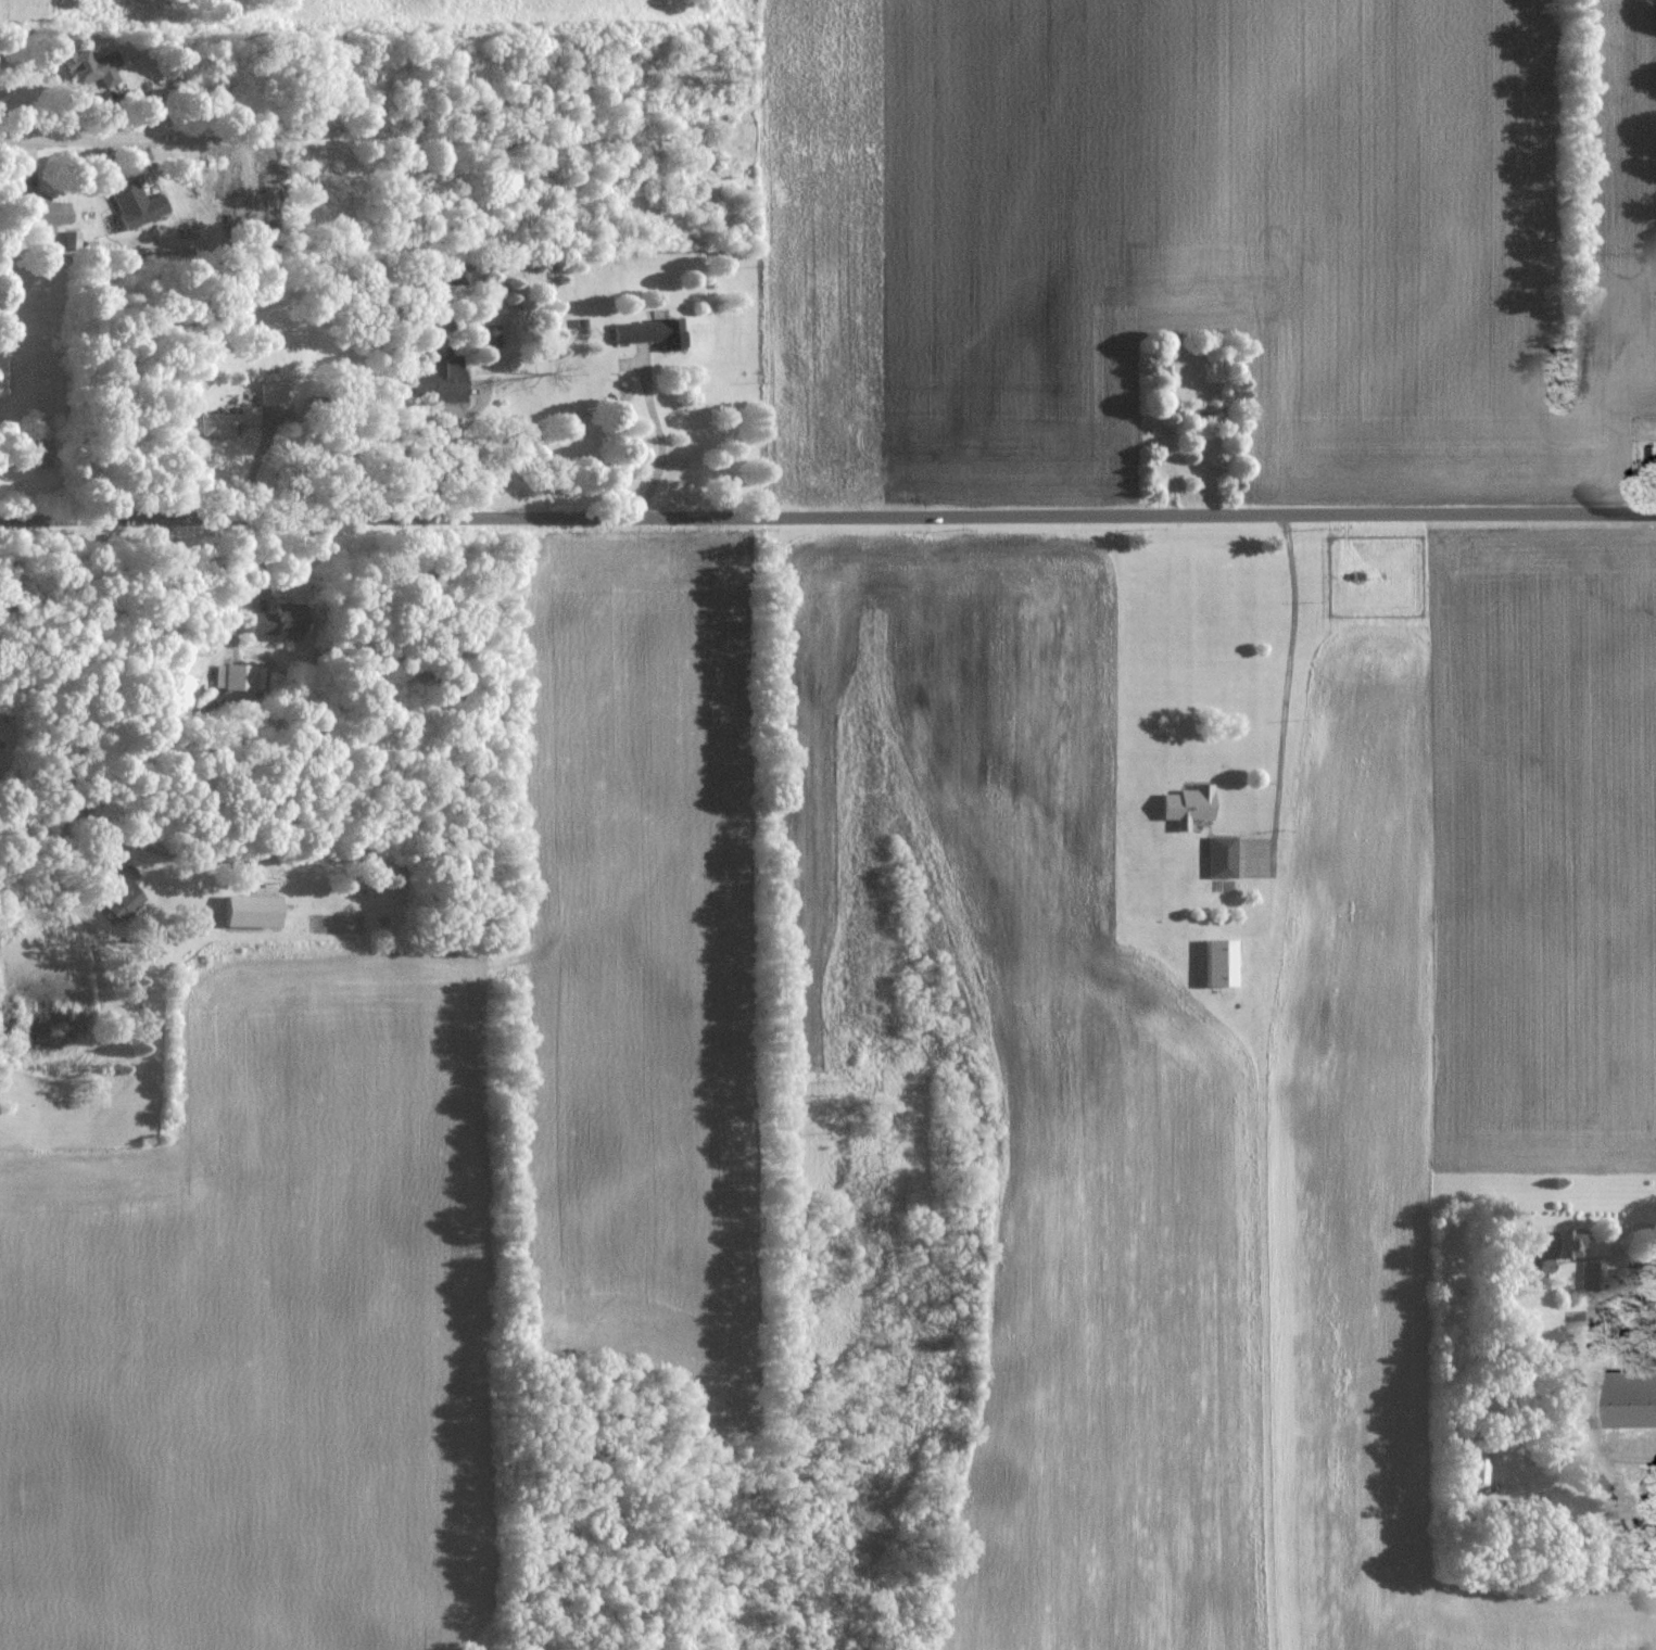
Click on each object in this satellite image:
building: (88, 67)
road: (81, 134)
building: (39, 210)
building: (455, 274)
building: (645, 332)
building: (484, 335)
building: (1, 371)
building: (1161, 373)
building: (438, 379)
building: (273, 393)
building: (1200, 410)
building: (224, 421)
road: (452, 433)
road: (657, 439)
building: (39, 452)
road: (827, 521)
building: (273, 618)
road: (1289, 649)
building: (232, 678)
building: (1185, 805)
road: (64, 854)
building: (1219, 858)
building: (122, 893)
building: (1218, 963)
building: (1557, 1243)
road: (1614, 1244)
building: (1592, 1275)
building: (1468, 1470)

